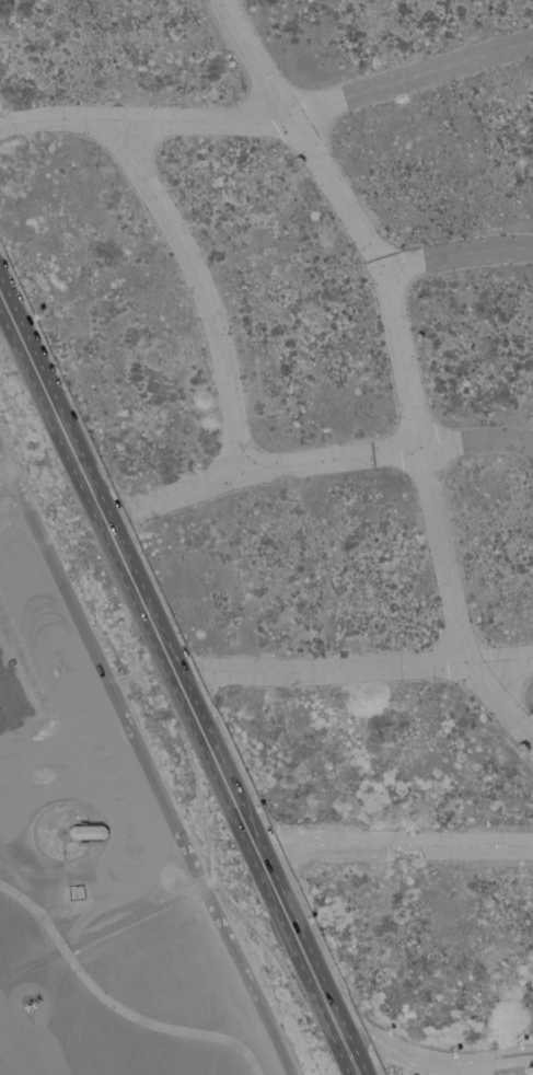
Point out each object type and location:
road: (271, 118)
road: (456, 255)
road: (200, 285)
road: (403, 361)
road: (53, 406)
road: (314, 460)
road: (5, 472)
road: (140, 598)
road: (354, 669)
road: (9, 693)
parking lot: (13, 696)
road: (9, 718)
road: (147, 761)
road: (215, 762)
road: (199, 796)
road: (38, 820)
road: (62, 829)
building: (88, 832)
road: (393, 844)
road: (66, 848)
road: (209, 881)
road: (24, 886)
road: (66, 893)
road: (135, 915)
road: (298, 941)
road: (273, 949)
road: (114, 1004)
road: (350, 1054)
road: (434, 1061)
road: (476, 1068)

